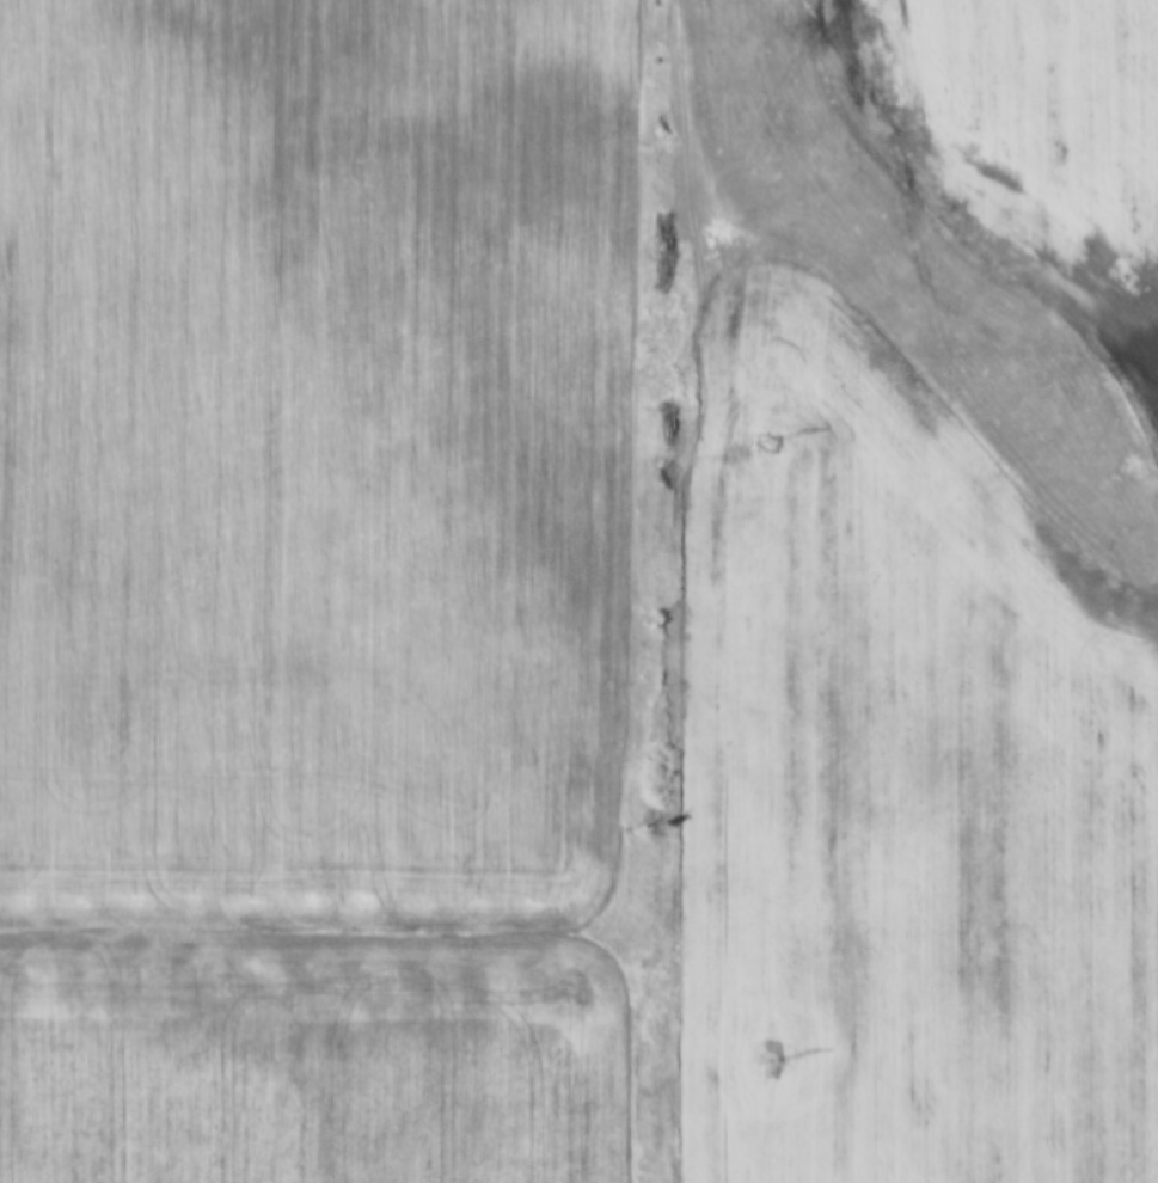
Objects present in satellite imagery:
power tower: (765, 437)
power tower: (770, 1059)

